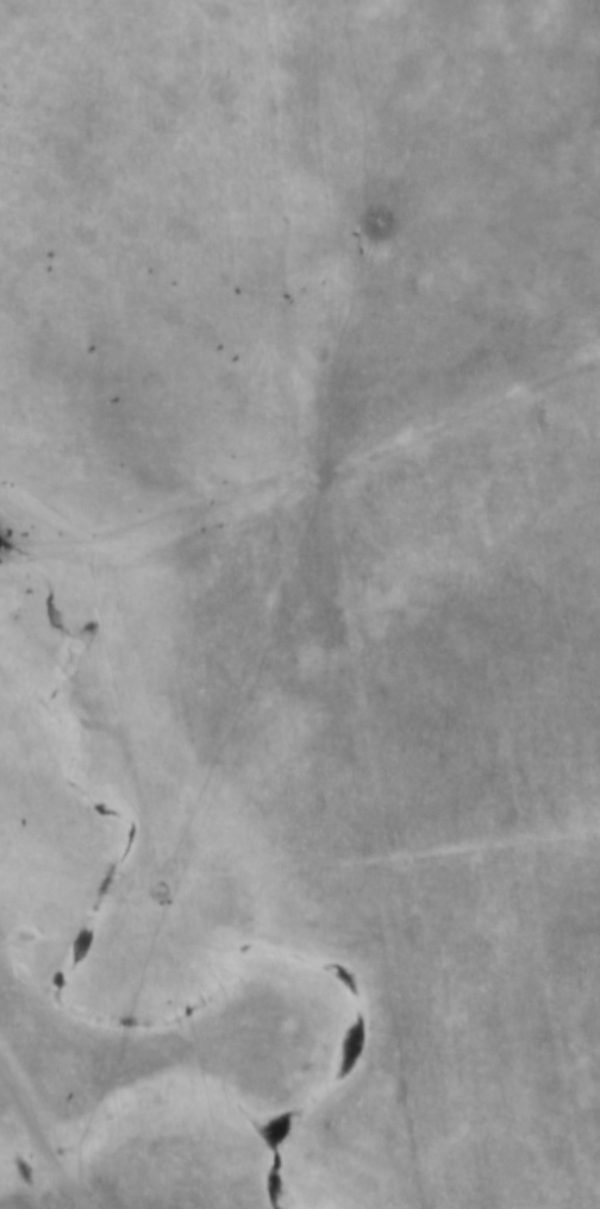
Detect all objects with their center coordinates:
road: (43, 1142)

